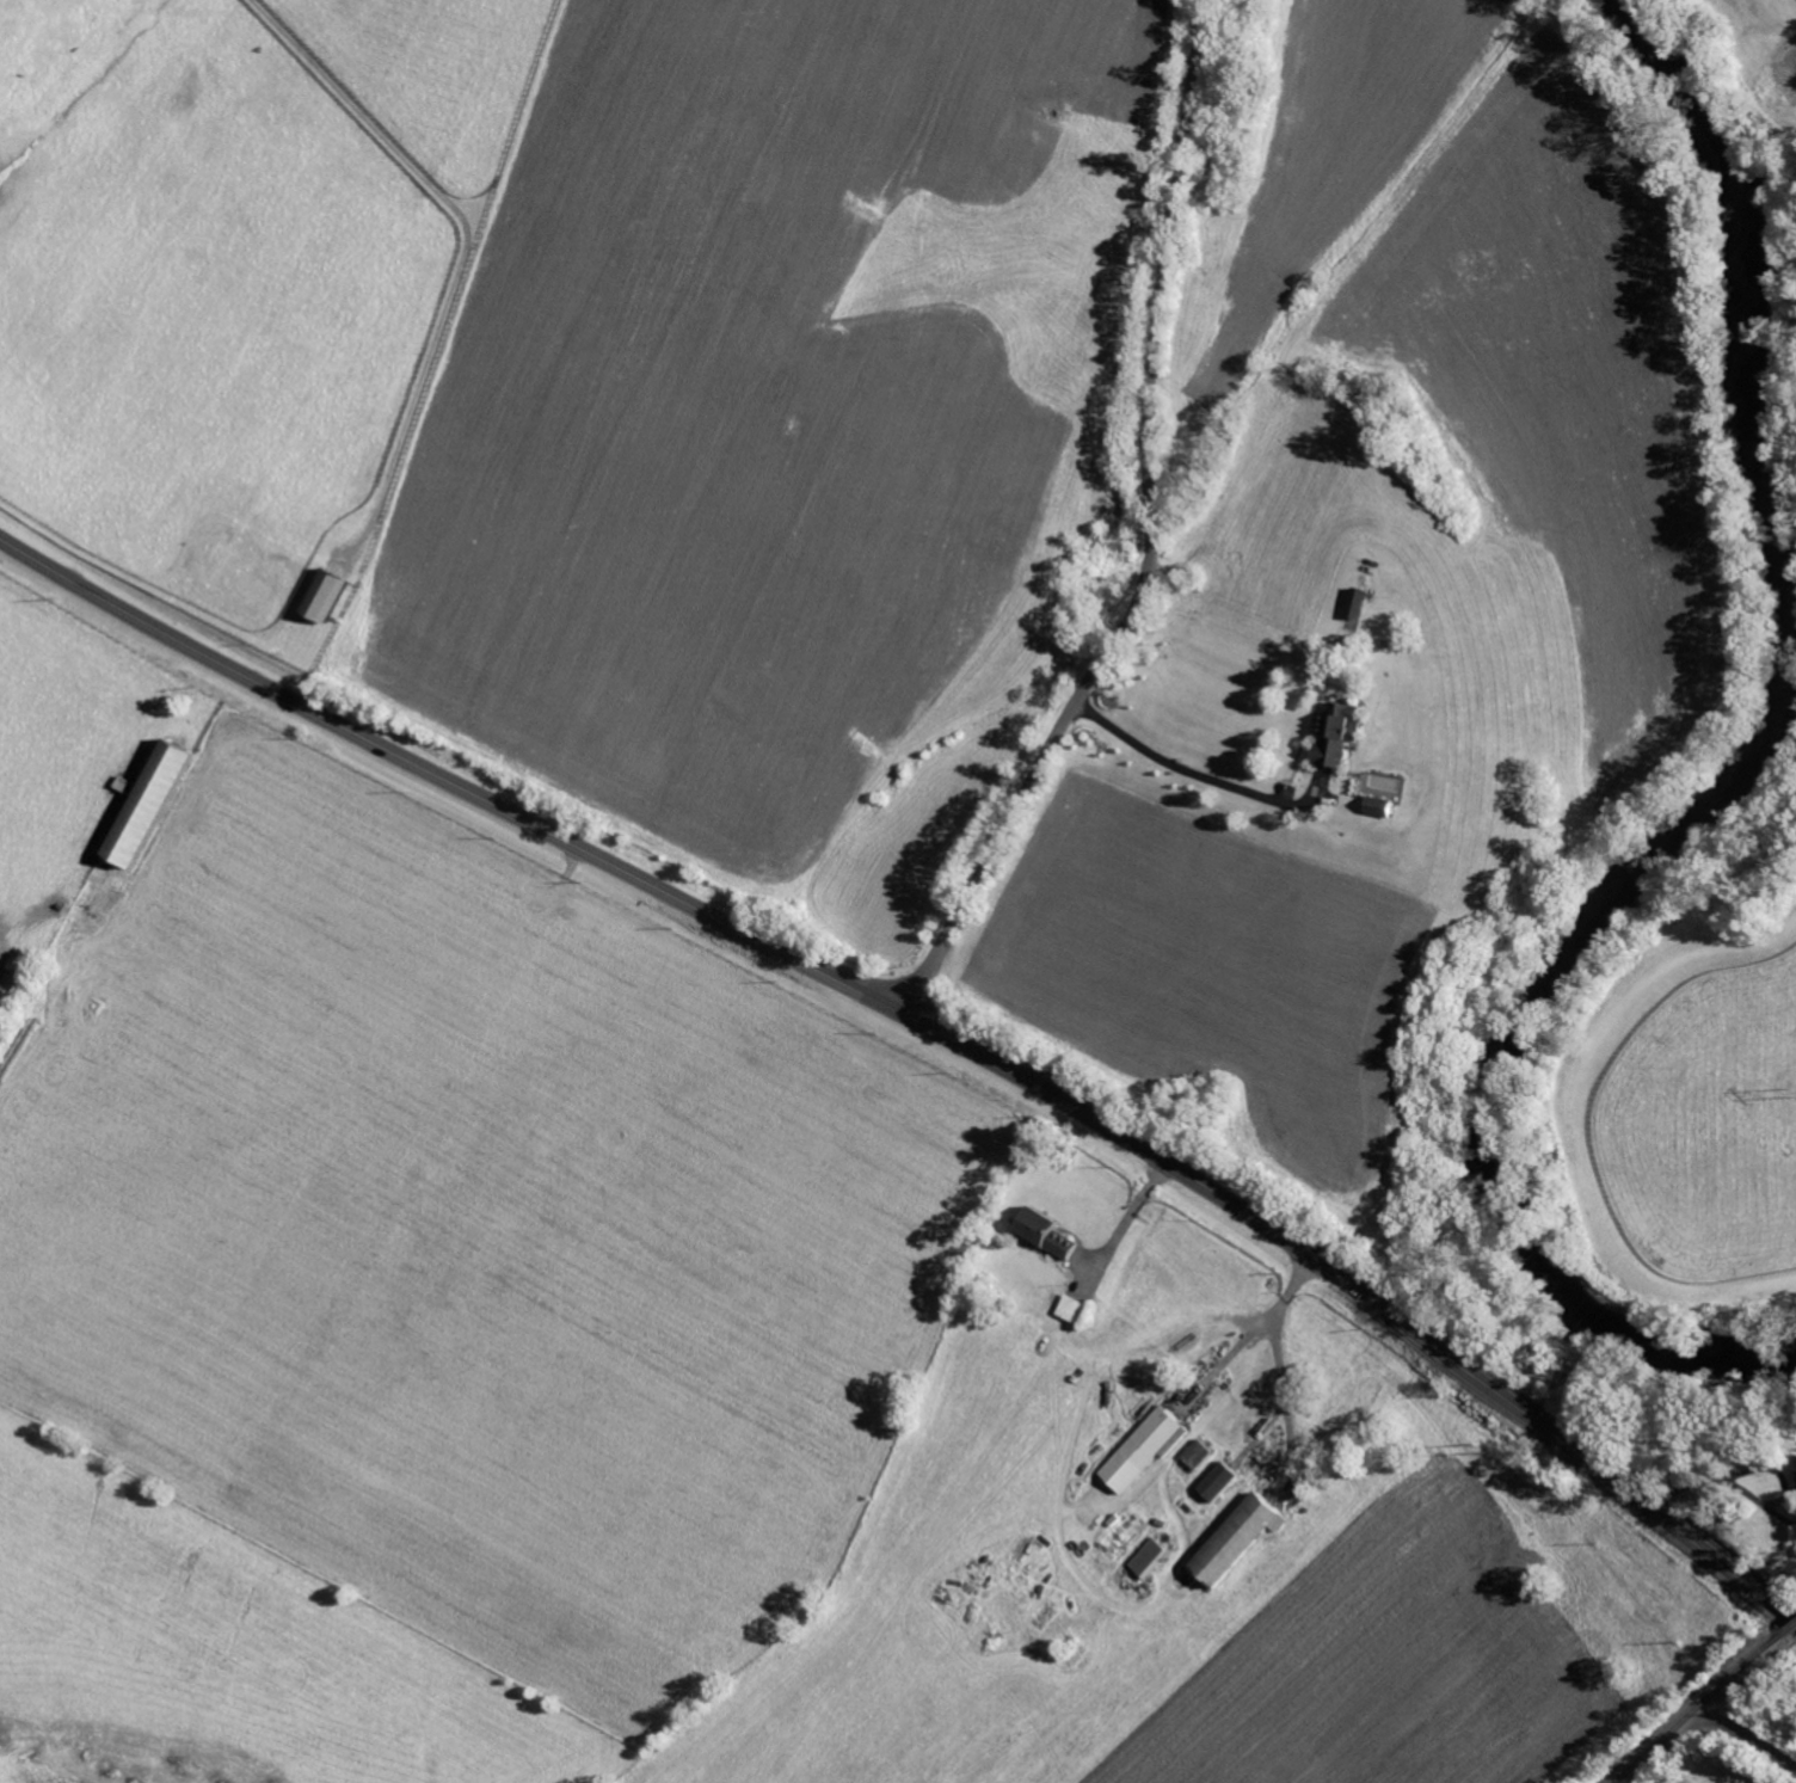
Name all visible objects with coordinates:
road: (1150, 536)
building: (319, 598)
building: (1357, 603)
building: (1334, 736)
road: (1181, 769)
building: (161, 800)
river: (1735, 806)
road: (879, 1001)
power tower: (1795, 1094)
building: (1041, 1231)
power tower: (1484, 1447)
building: (1795, 1458)
building: (1212, 1481)
road: (1722, 1481)
building: (1230, 1538)
building: (1143, 1558)
road: (1751, 1586)
railway: (1790, 1628)
railway: (1700, 1708)
road: (1714, 1724)

